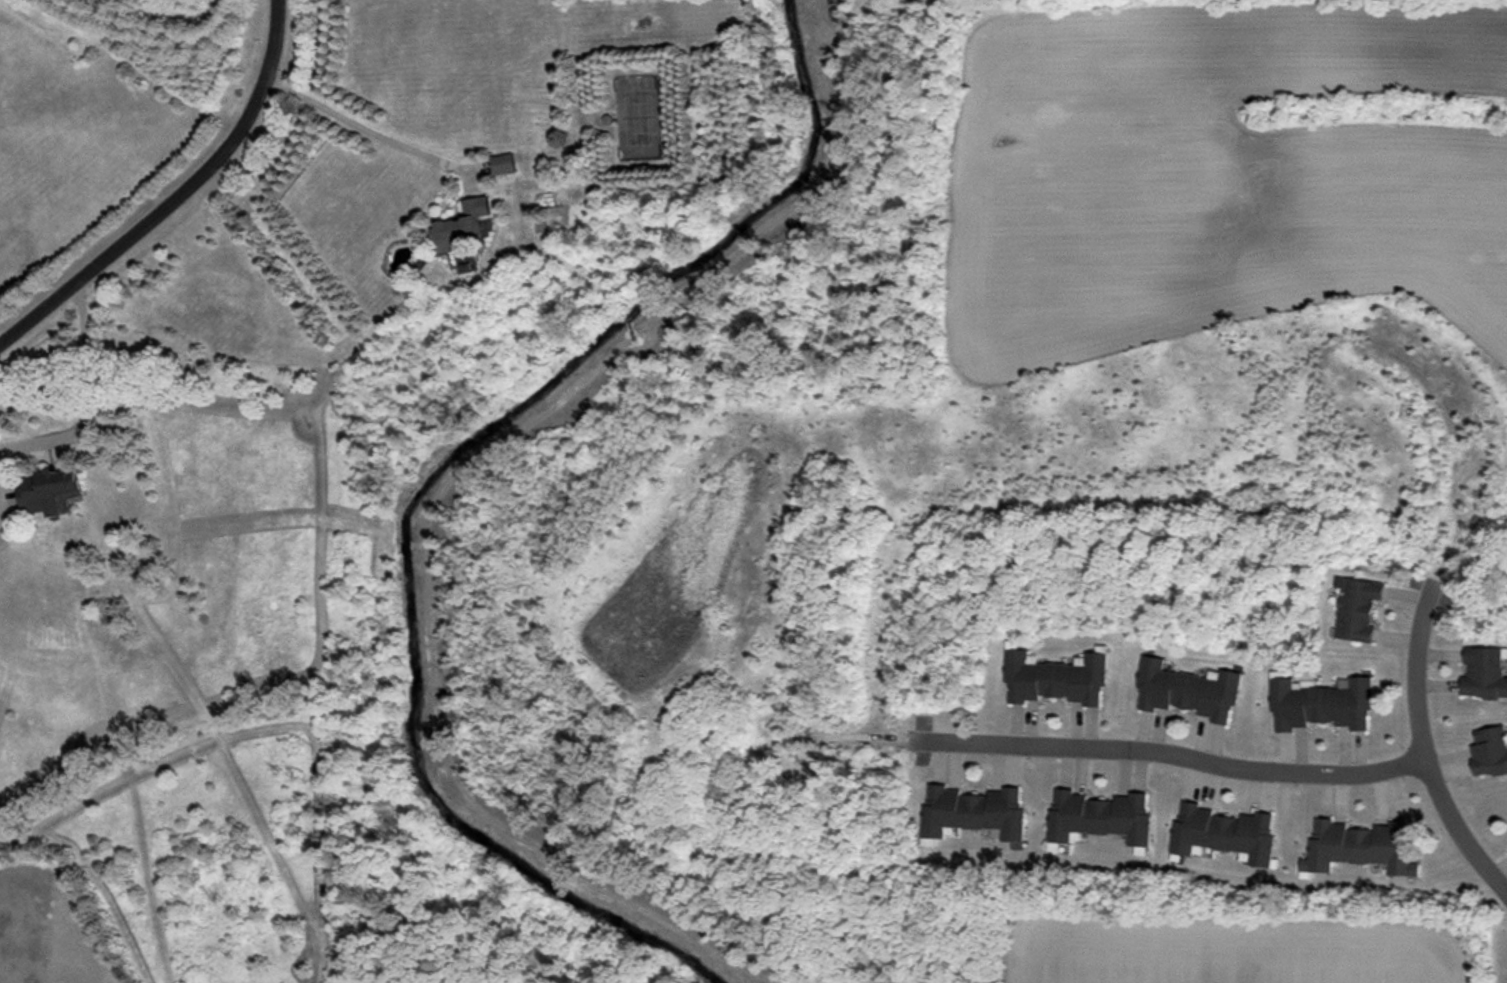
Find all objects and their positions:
road: (363, 130)
building: (502, 164)
crop: (1237, 179)
road: (174, 193)
building: (456, 228)
road: (87, 395)
building: (38, 496)
building: (1357, 608)
road: (1412, 662)
building: (1483, 674)
building: (1055, 678)
building: (1187, 690)
building: (1321, 704)
road: (1167, 751)
building: (1489, 751)
building: (973, 812)
building: (1100, 816)
road: (1455, 828)
building: (1224, 833)
building: (1360, 847)
crop: (1221, 954)

